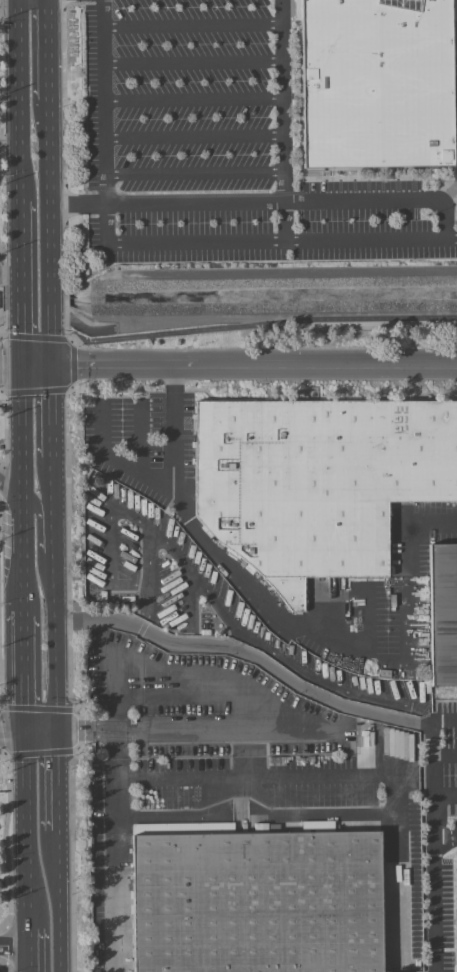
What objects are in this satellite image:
road: (192, 26)
road: (193, 63)
building: (373, 84)
road: (20, 100)
road: (282, 100)
road: (193, 101)
road: (194, 137)
road: (10, 141)
building: (453, 163)
road: (194, 174)
road: (49, 182)
road: (293, 201)
road: (78, 205)
road: (283, 222)
road: (160, 243)
road: (23, 282)
road: (263, 324)
road: (12, 338)
road: (46, 340)
road: (241, 362)
road: (12, 363)
traffic signals: (25, 364)
traffic signals: (53, 364)
road: (115, 462)
building: (316, 484)
road: (24, 488)
road: (12, 493)
road: (45, 533)
road: (53, 550)
building: (441, 617)
road: (292, 628)
building: (420, 642)
road: (247, 657)
road: (25, 674)
road: (117, 720)
road: (444, 724)
road: (13, 736)
traffic signals: (27, 736)
road: (40, 736)
traffic signals: (54, 736)
road: (191, 736)
road: (445, 756)
road: (355, 775)
road: (55, 784)
road: (445, 794)
building: (316, 826)
road: (28, 832)
road: (445, 834)
road: (434, 848)
road: (56, 902)
building: (254, 903)
road: (15, 947)
road: (30, 950)

